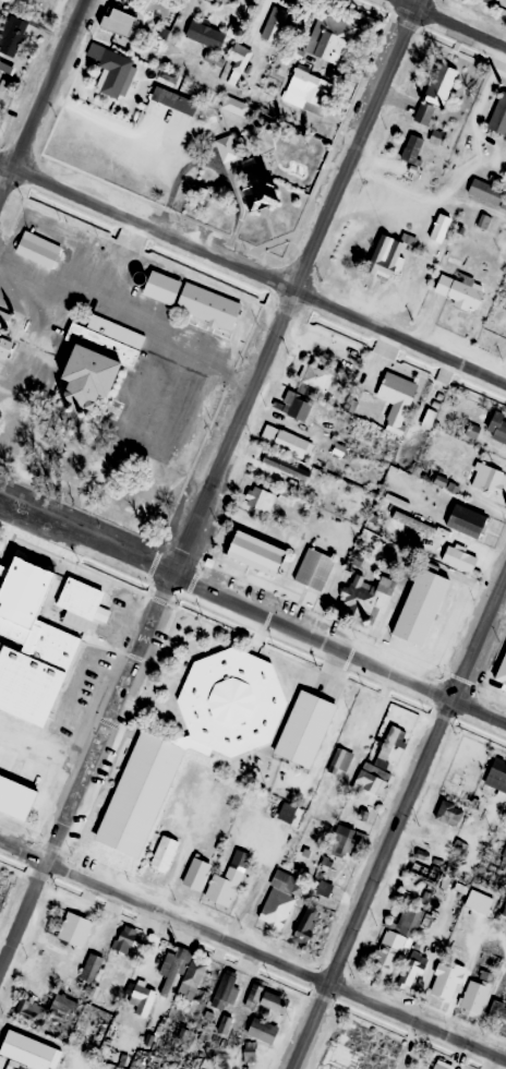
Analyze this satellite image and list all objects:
building: (27, 0)
building: (487, 0)
building: (118, 21)
building: (274, 23)
road: (453, 23)
building: (329, 37)
building: (11, 40)
building: (239, 57)
building: (109, 68)
building: (439, 84)
building: (306, 89)
road: (43, 96)
building: (173, 99)
building: (233, 105)
building: (498, 116)
building: (412, 148)
building: (226, 152)
road: (7, 158)
building: (256, 182)
building: (484, 191)
building: (437, 226)
building: (38, 249)
building: (385, 256)
road: (120, 257)
road: (261, 272)
building: (161, 287)
building: (457, 290)
building: (207, 305)
road: (132, 310)
building: (4, 319)
building: (4, 347)
building: (98, 357)
building: (314, 376)
building: (397, 399)
building: (294, 406)
building: (497, 428)
building: (284, 440)
building: (338, 449)
building: (285, 466)
building: (487, 478)
road: (210, 488)
building: (257, 497)
building: (466, 520)
building: (256, 553)
building: (352, 562)
building: (313, 568)
building: (420, 606)
road: (254, 610)
building: (25, 648)
building: (504, 659)
building: (231, 702)
building: (382, 764)
building: (496, 778)
building: (138, 793)
building: (10, 801)
building: (277, 808)
building: (446, 810)
road: (398, 820)
building: (166, 848)
building: (195, 873)
building: (227, 879)
building: (329, 890)
building: (277, 900)
building: (477, 901)
building: (505, 910)
building: (406, 918)
building: (305, 925)
building: (73, 928)
building: (124, 938)
road: (252, 953)
building: (383, 959)
building: (89, 968)
building: (411, 968)
building: (185, 976)
building: (445, 980)
building: (228, 986)
building: (253, 995)
building: (474, 995)
building: (141, 998)
building: (274, 1001)
building: (60, 1005)
building: (29, 1010)
building: (497, 1011)
building: (224, 1023)
building: (24, 1050)
building: (442, 1065)

